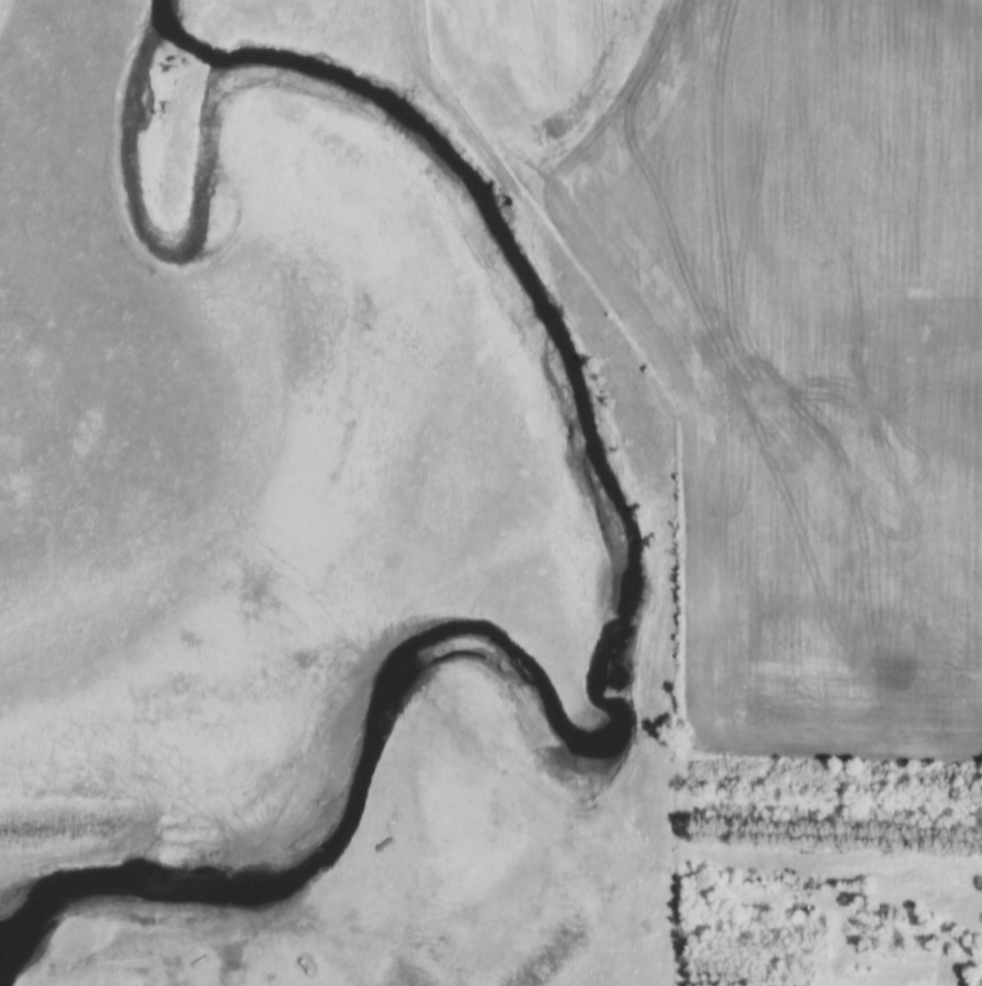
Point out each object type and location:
river: (592, 490)

